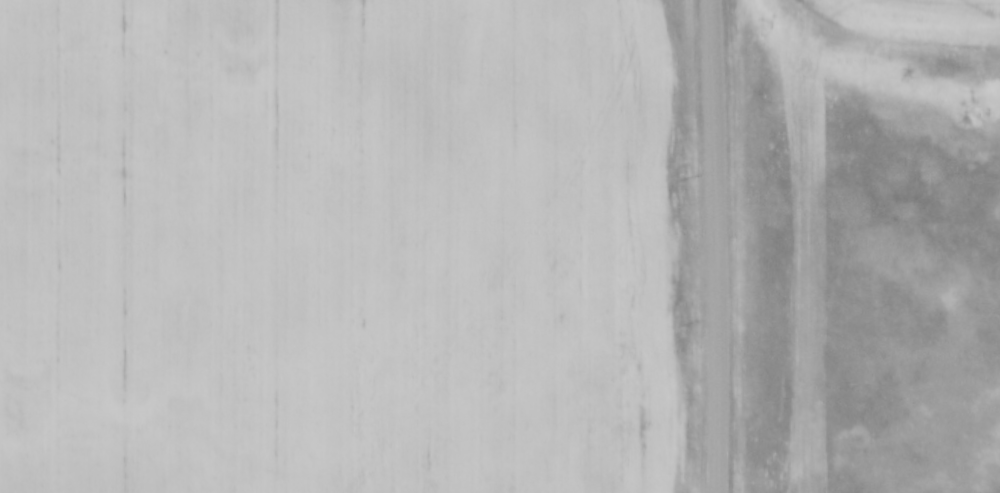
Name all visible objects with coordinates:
road: (715, 246)

